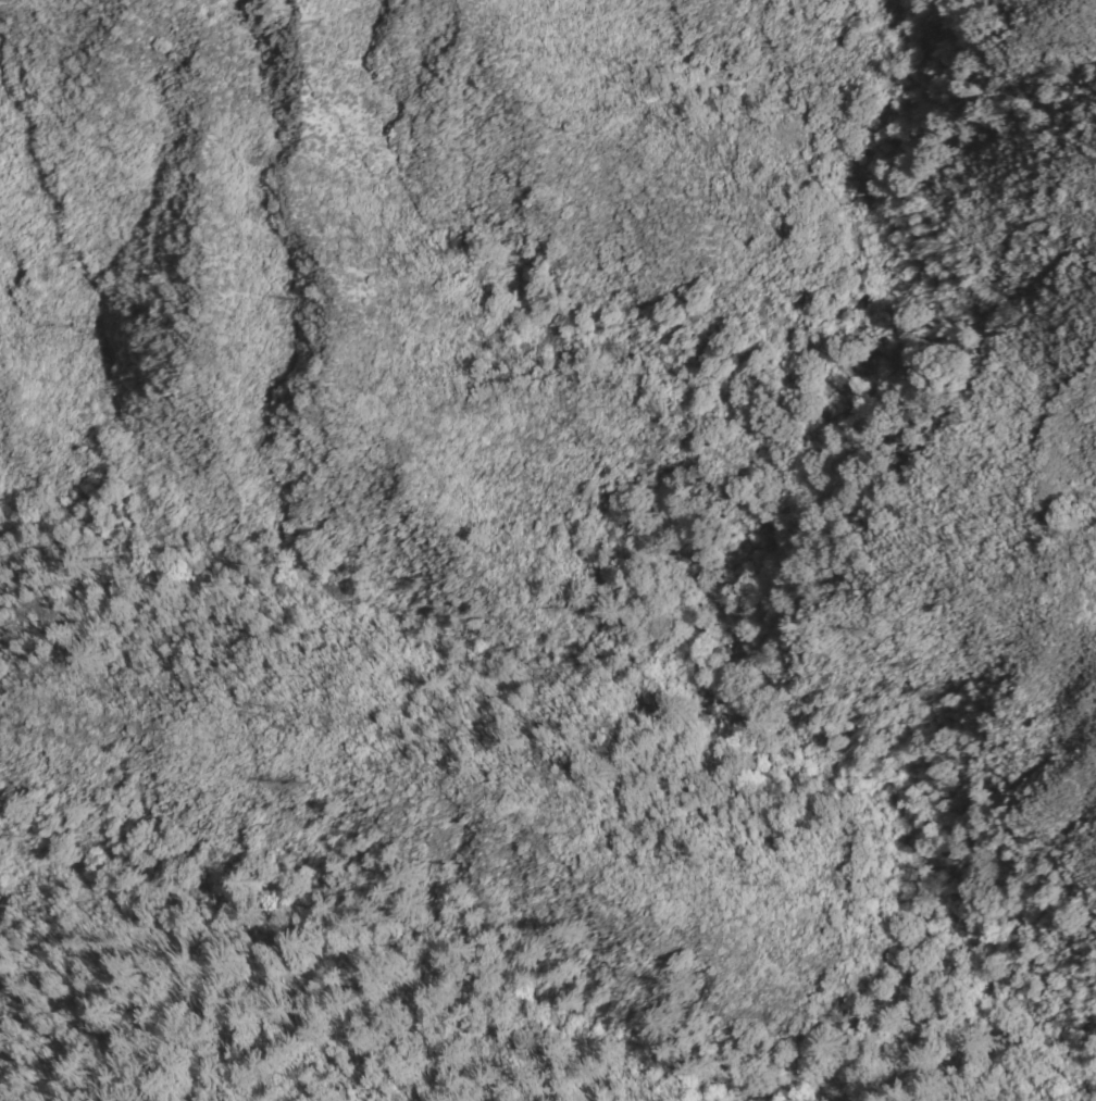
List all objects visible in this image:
road: (219, 1010)

